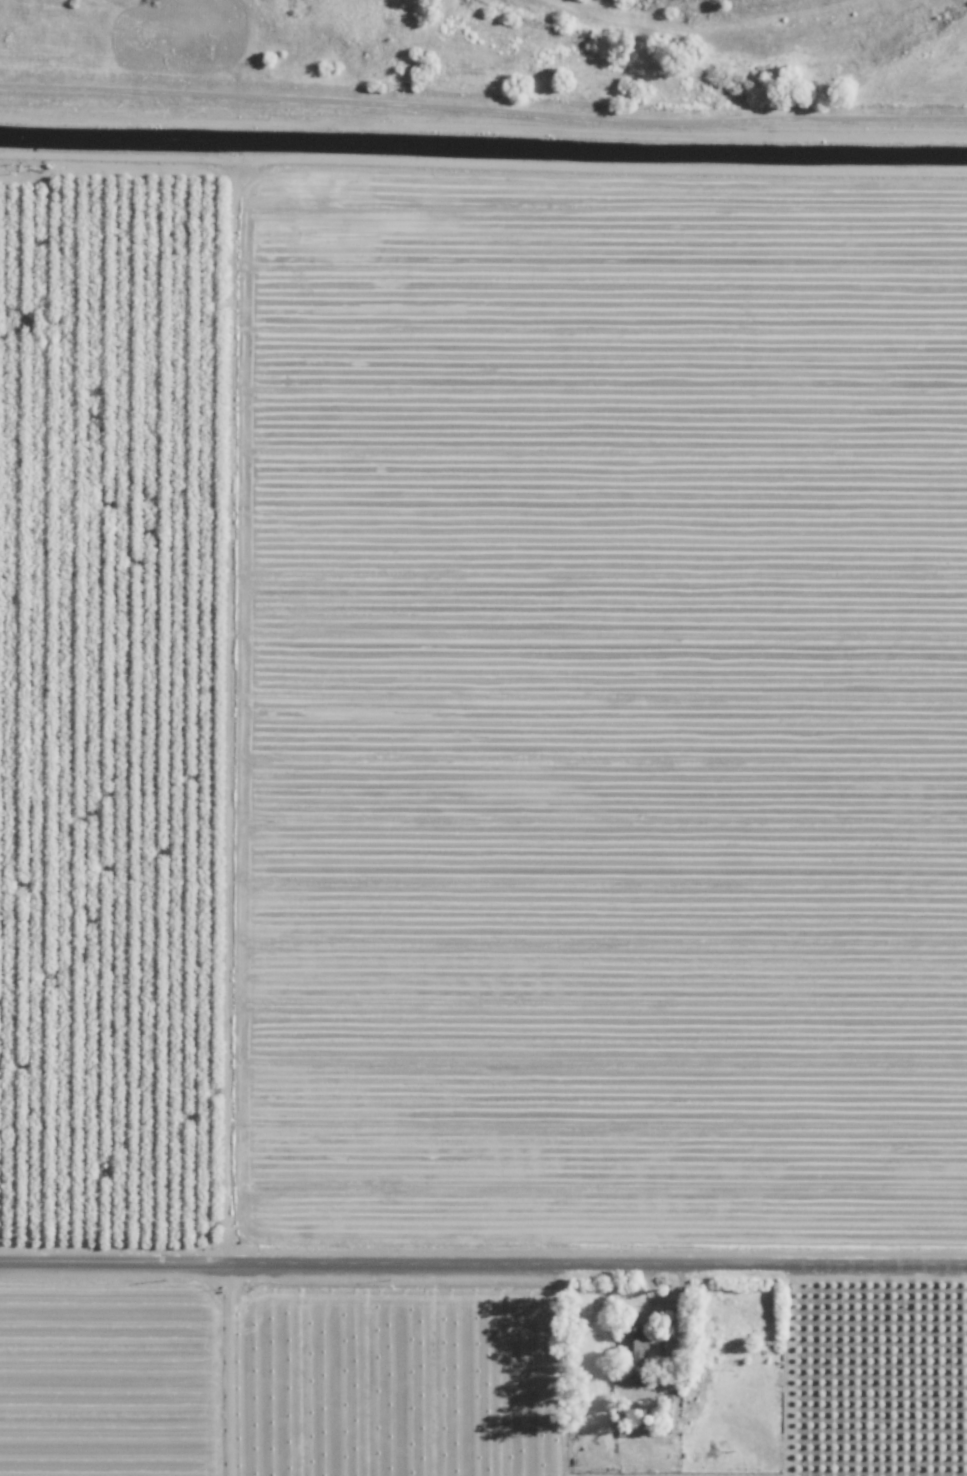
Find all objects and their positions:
crop: (571, 846)
road: (483, 1262)
building: (634, 1337)

